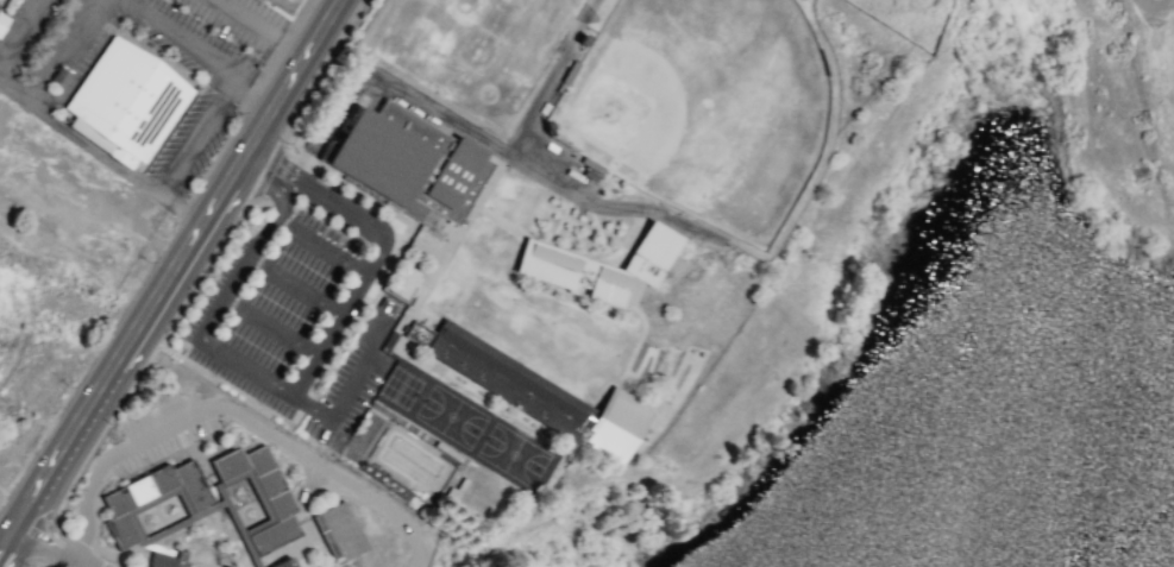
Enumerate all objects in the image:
building: (1, 2)
park: (301, 12)
building: (2, 21)
road: (199, 52)
crop: (1072, 97)
building: (128, 101)
park: (709, 109)
road: (62, 131)
road: (197, 140)
building: (407, 162)
building: (599, 266)
road: (170, 281)
building: (403, 282)
crop: (55, 323)
road: (300, 378)
building: (531, 389)
road: (233, 411)
building: (258, 494)
building: (150, 498)
building: (338, 531)
road: (54, 547)
building: (164, 560)
building: (283, 563)
road: (83, 566)

